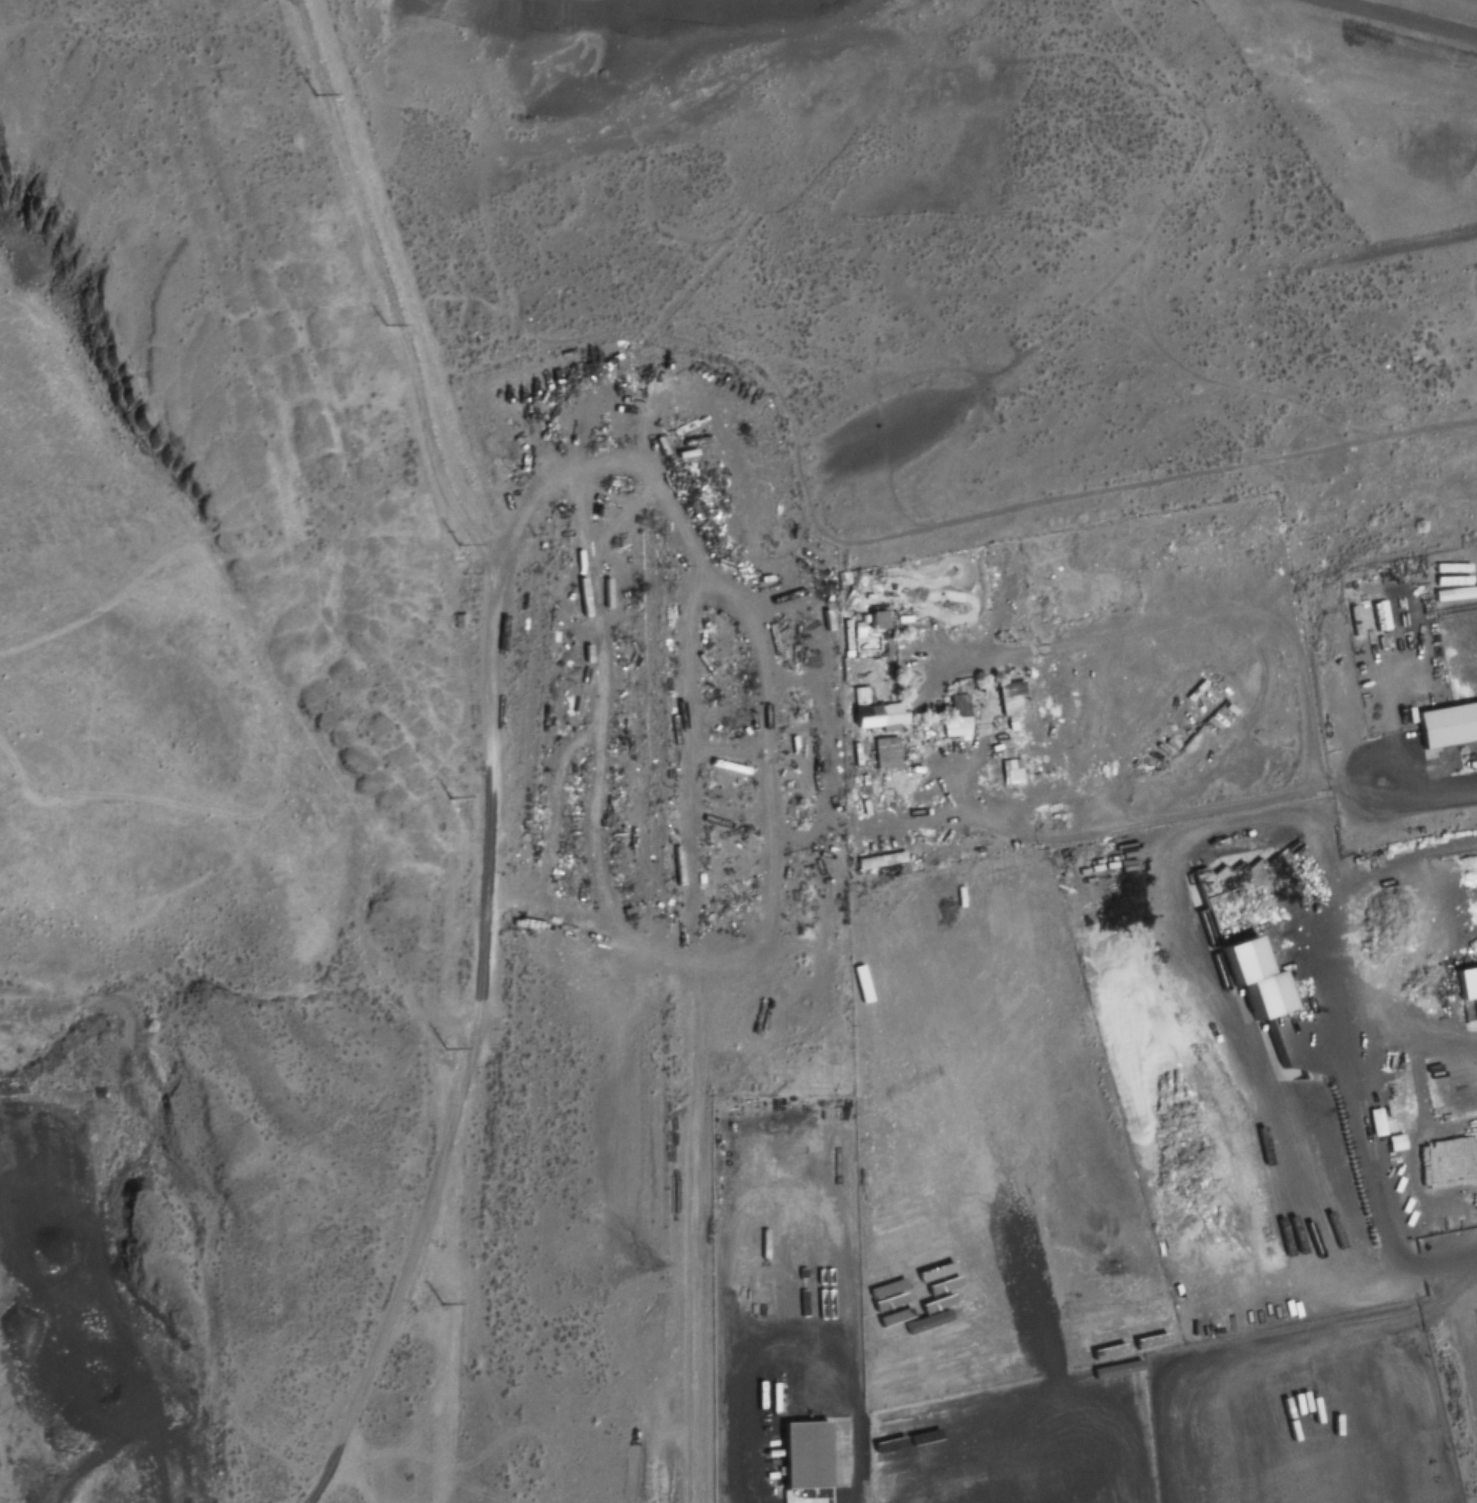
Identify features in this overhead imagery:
road: (1405, 18)
parking lot: (1382, 51)
building: (1440, 455)
building: (1379, 460)
building: (1405, 488)
building: (1433, 512)
building: (1311, 529)
building: (1441, 532)
building: (1454, 569)
building: (1450, 603)
building: (1375, 618)
building: (459, 621)
building: (874, 621)
building: (1015, 699)
building: (862, 709)
building: (959, 715)
building: (1442, 719)
building: (889, 752)
building: (1013, 772)
road: (1369, 818)
building: (865, 862)
building: (1240, 970)
building: (1461, 978)
road: (474, 994)
building: (1374, 1123)
building: (1392, 1144)
road: (1438, 1265)
building: (1185, 1320)
road: (854, 1419)
building: (801, 1456)

